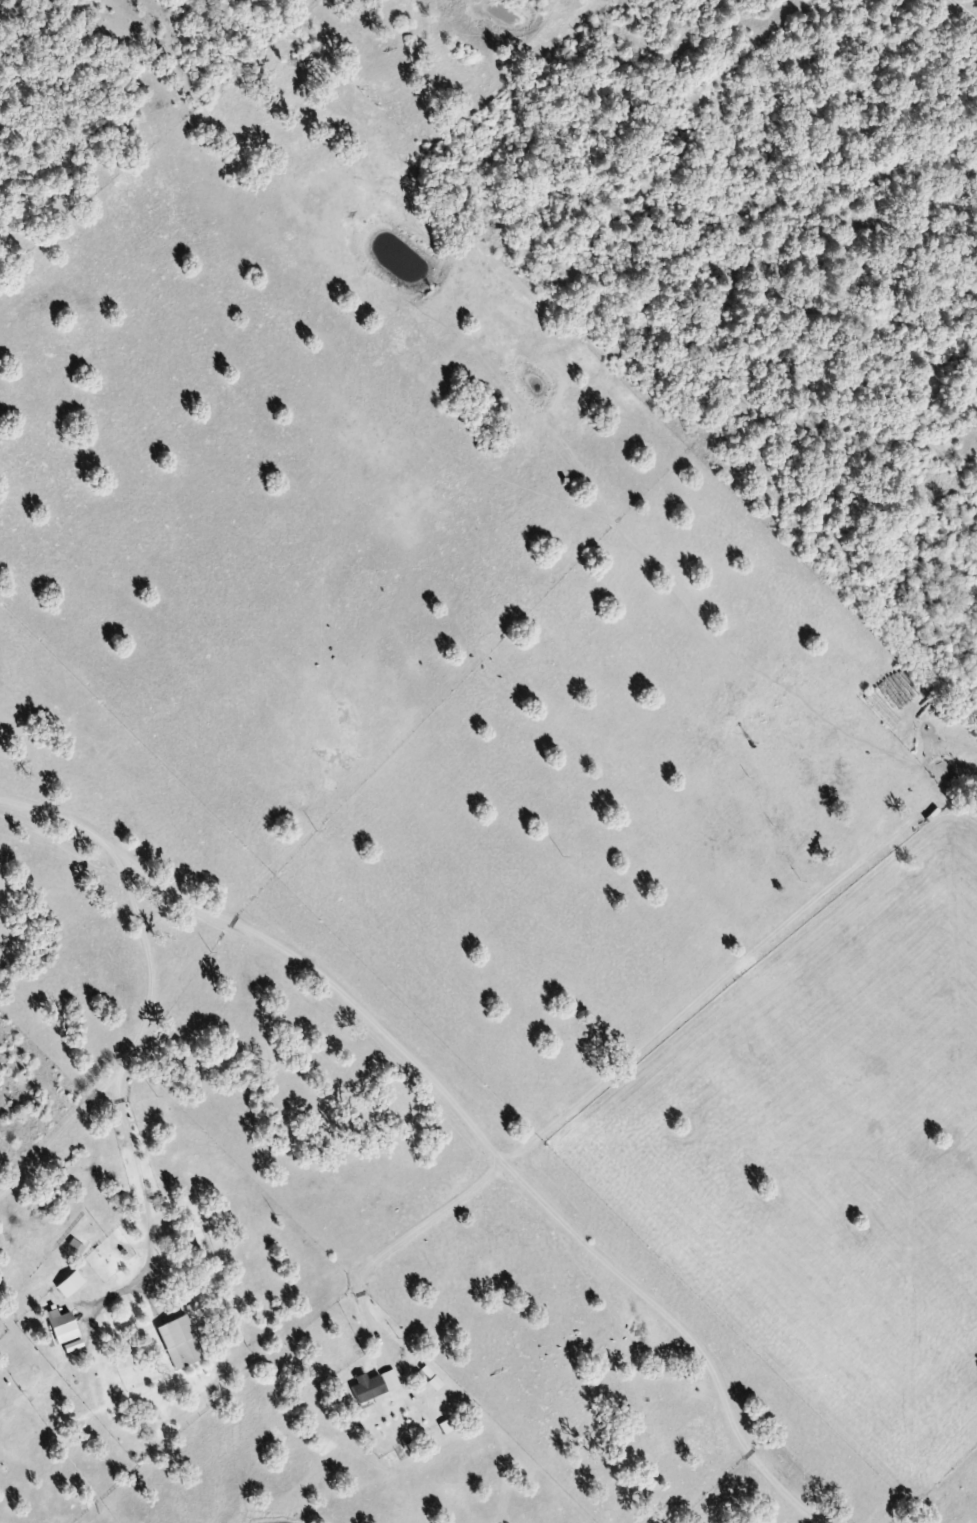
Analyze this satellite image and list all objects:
road: (54, 813)
road: (429, 1074)
building: (75, 1246)
building: (67, 1284)
building: (59, 1326)
building: (177, 1342)
building: (71, 1346)
building: (427, 1377)
building: (367, 1386)

